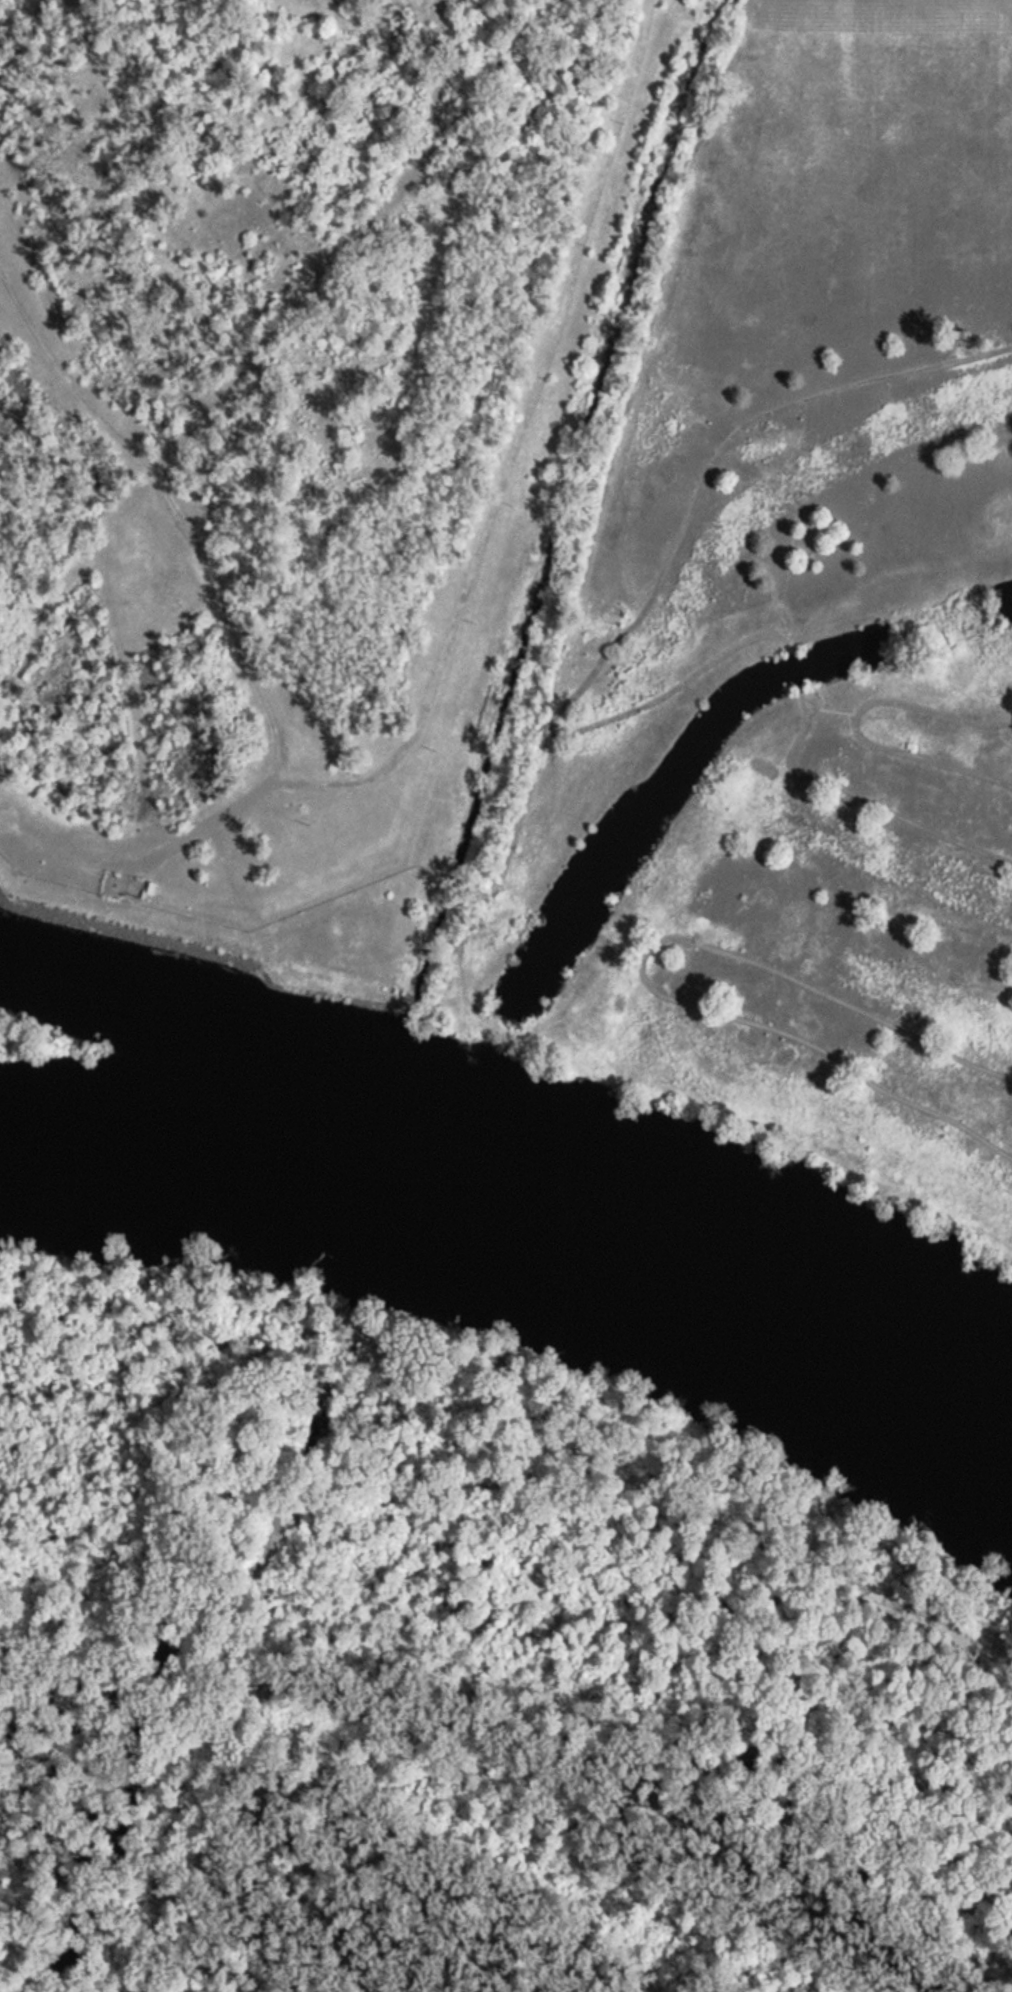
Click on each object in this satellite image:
road: (716, 456)
park: (812, 594)
road: (782, 631)
road: (787, 649)
road: (793, 669)
road: (669, 692)
road: (891, 702)
road: (964, 769)
road: (859, 797)
road: (800, 982)
road: (850, 1065)
river: (525, 1248)
road: (490, 1494)

